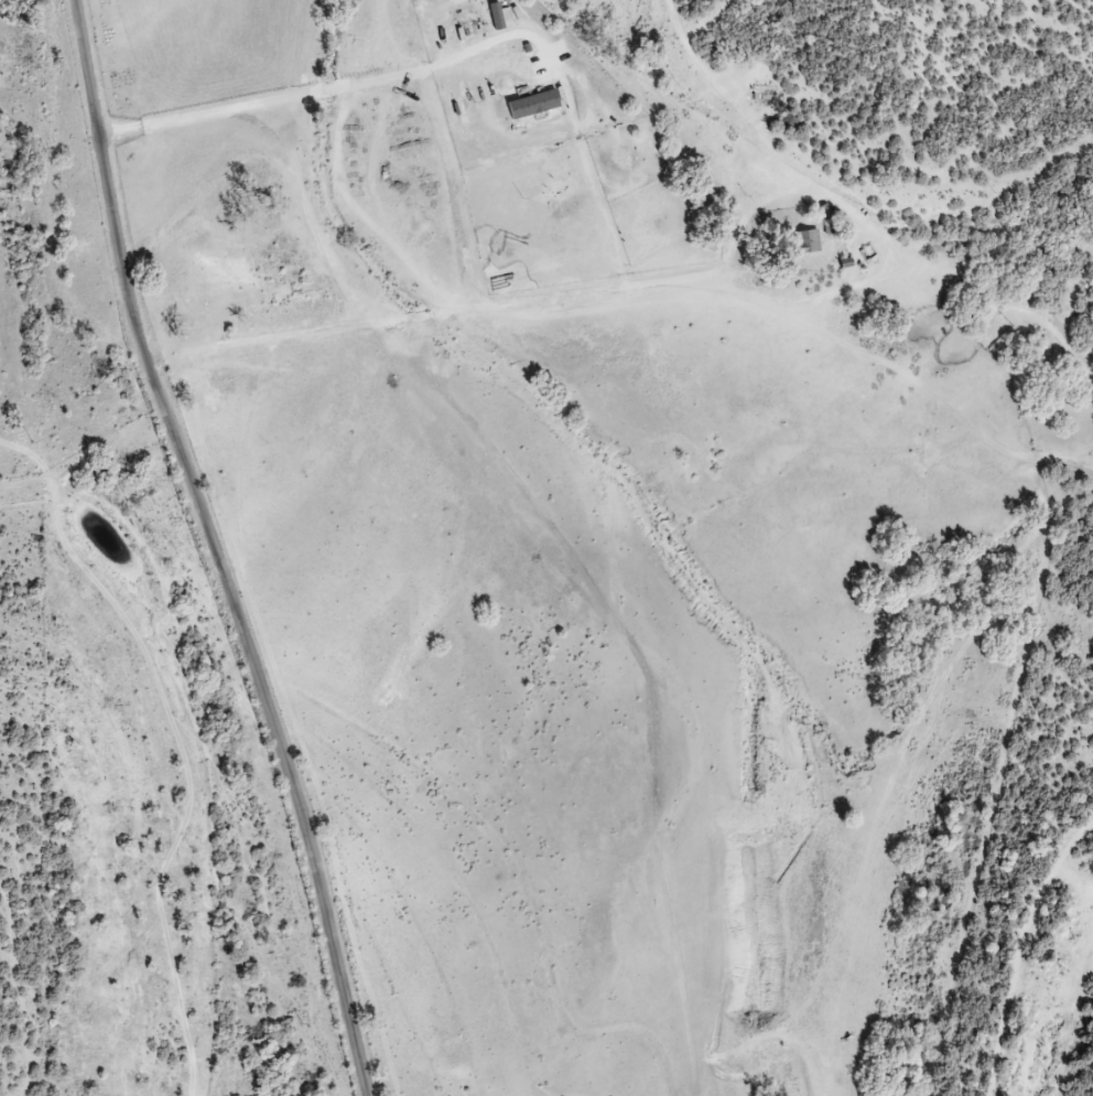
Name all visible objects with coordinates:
building: (481, 20)
road: (344, 93)
building: (533, 106)
building: (807, 241)
road: (659, 245)
road: (214, 549)
road: (104, 792)

